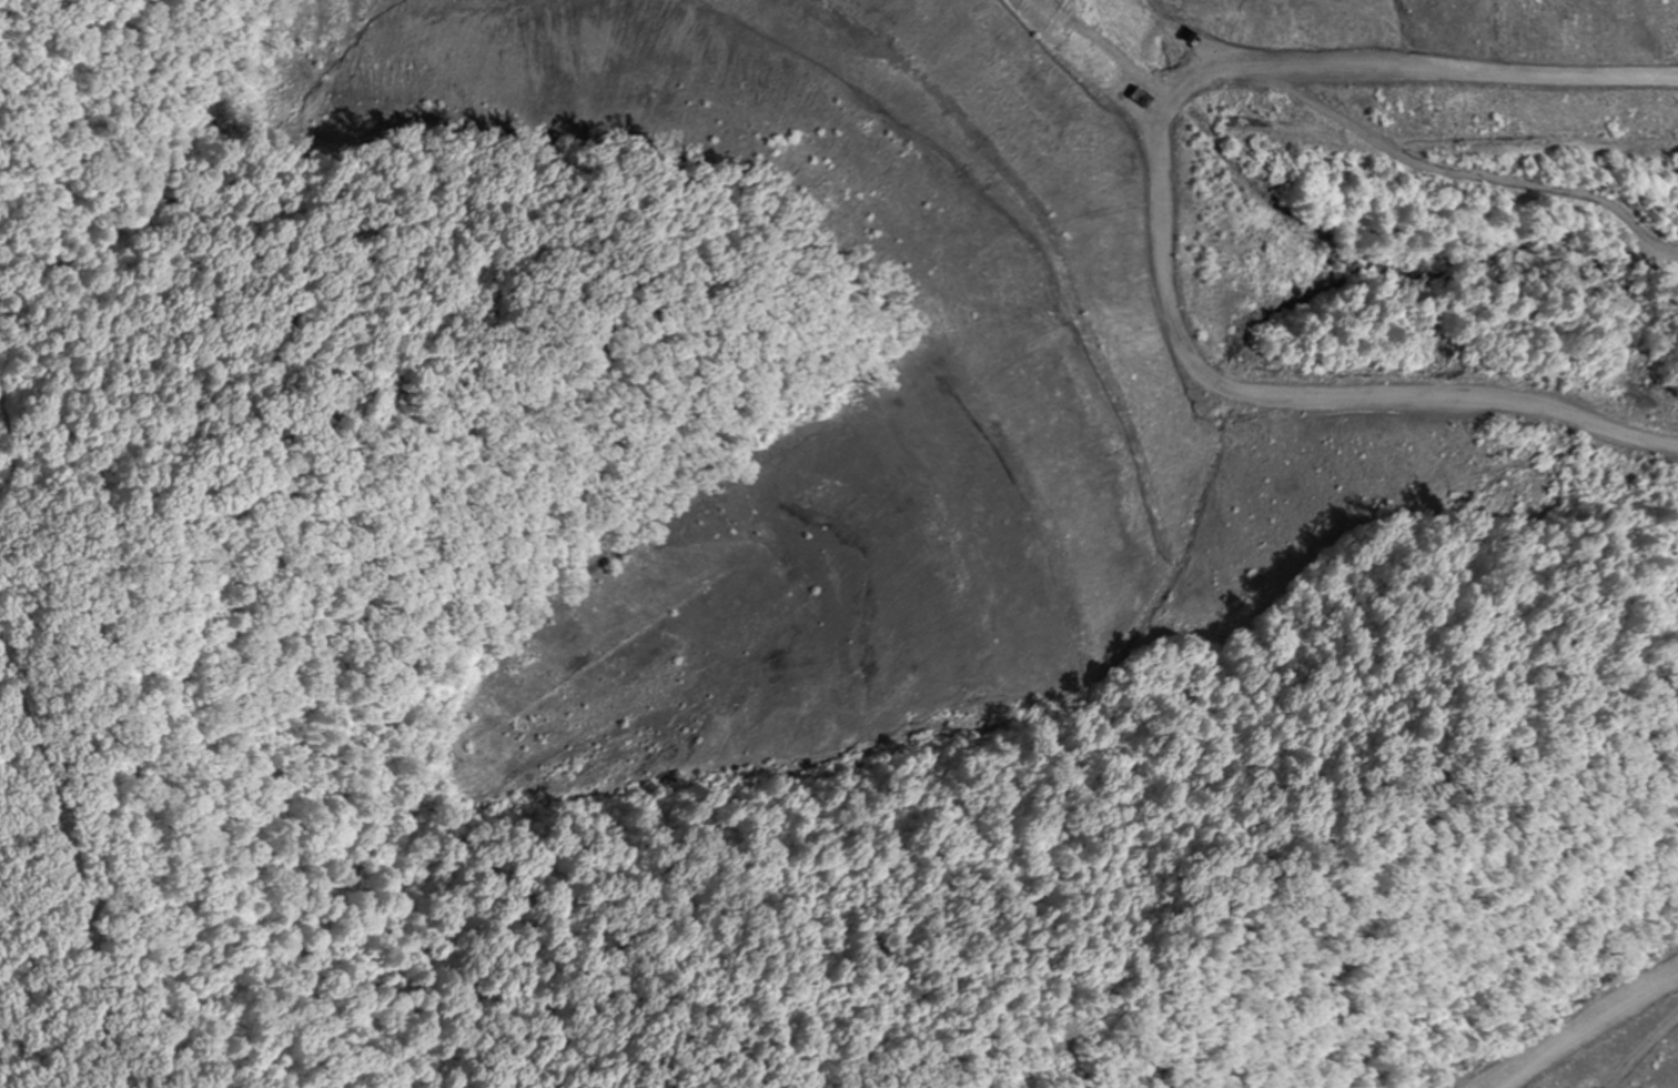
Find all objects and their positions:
road: (26, 403)
road: (67, 839)
road: (1664, 1080)

